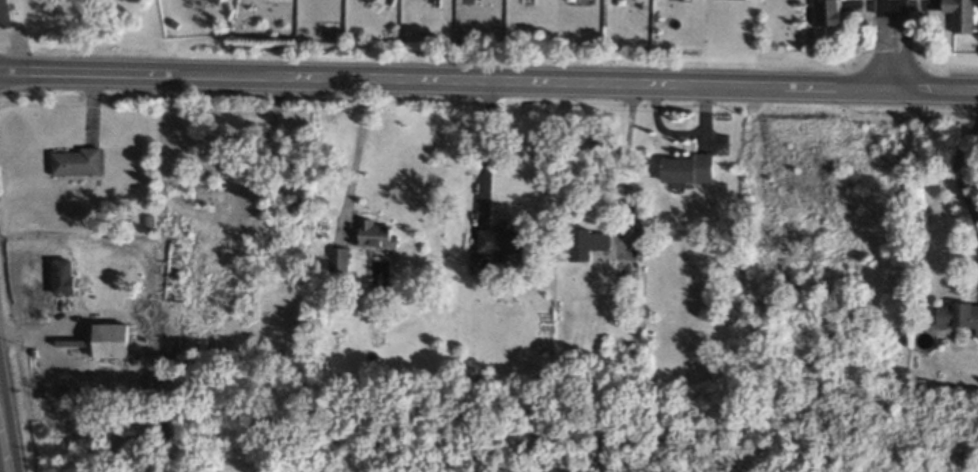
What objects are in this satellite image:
building: (438, 0)
building: (218, 1)
building: (828, 12)
building: (5, 14)
building: (963, 14)
road: (894, 45)
road: (316, 78)
road: (805, 89)
road: (485, 145)
road: (964, 154)
road: (355, 155)
road: (625, 158)
building: (76, 161)
building: (688, 167)
building: (376, 233)
building: (502, 242)
building: (587, 242)
building: (338, 258)
building: (63, 276)
building: (957, 315)
building: (111, 339)
road: (5, 437)
road: (3, 446)

